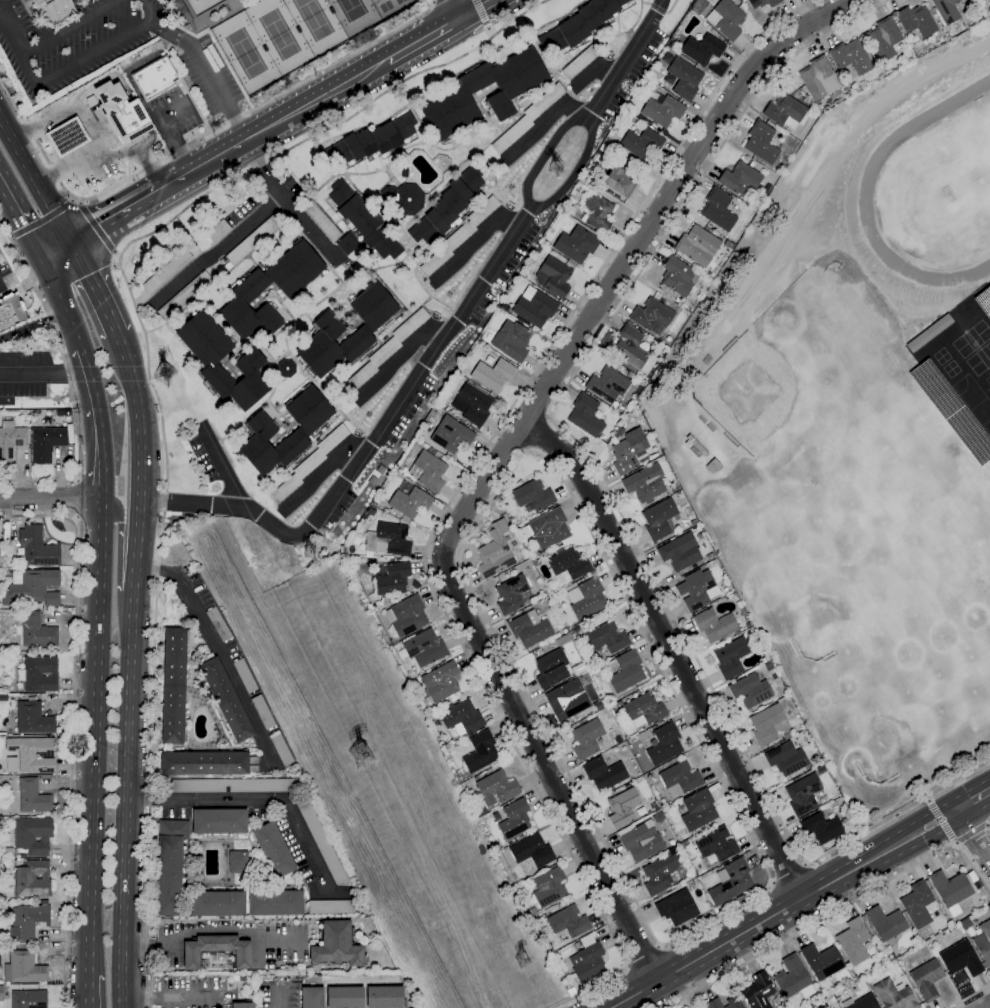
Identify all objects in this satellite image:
park: (196, 0)
park: (400, 1)
building: (743, 1)
building: (762, 3)
park: (384, 5)
building: (699, 6)
road: (458, 8)
road: (478, 8)
building: (55, 9)
park: (352, 9)
building: (946, 10)
building: (182, 12)
park: (313, 18)
road: (484, 18)
building: (726, 19)
building: (917, 20)
building: (976, 22)
building: (578, 25)
road: (70, 27)
road: (11, 32)
park: (279, 34)
road: (425, 38)
building: (883, 39)
parking lot: (73, 41)
building: (702, 48)
road: (90, 51)
park: (246, 53)
building: (850, 57)
road: (625, 60)
building: (580, 61)
road: (207, 70)
road: (592, 70)
road: (107, 75)
building: (155, 77)
building: (684, 78)
building: (819, 78)
building: (509, 93)
road: (311, 101)
building: (662, 110)
building: (785, 111)
building: (124, 112)
road: (142, 116)
building: (528, 118)
road: (545, 121)
road: (92, 129)
building: (68, 137)
gas station: (68, 137)
building: (380, 137)
road: (147, 141)
road: (194, 142)
building: (761, 142)
building: (641, 143)
road: (544, 157)
road: (68, 161)
road: (207, 161)
road: (577, 166)
park: (968, 167)
power tower: (554, 171)
building: (404, 172)
road: (35, 179)
building: (740, 179)
building: (618, 181)
track: (867, 182)
building: (577, 188)
track: (939, 192)
building: (407, 199)
road: (137, 202)
building: (448, 205)
road: (292, 208)
building: (717, 209)
building: (597, 212)
road: (41, 219)
building: (321, 220)
building: (364, 220)
road: (20, 222)
road: (98, 227)
building: (218, 231)
road: (85, 233)
building: (460, 235)
road: (475, 237)
building: (253, 240)
traffic signals: (73, 241)
building: (545, 242)
building: (348, 243)
building: (576, 244)
building: (698, 245)
building: (728, 245)
building: (539, 248)
road: (56, 249)
road: (214, 252)
traffic signals: (39, 257)
road: (625, 259)
parking lot: (3, 265)
building: (167, 271)
building: (553, 277)
building: (678, 277)
building: (424, 280)
road: (95, 285)
building: (247, 290)
building: (184, 295)
road: (61, 302)
building: (534, 306)
building: (651, 314)
building: (13, 316)
road: (33, 325)
building: (329, 329)
building: (511, 340)
building: (630, 346)
building: (386, 349)
building: (251, 359)
building: (617, 359)
building: (286, 367)
road: (43, 371)
power tower: (167, 373)
parking lot: (24, 374)
building: (494, 374)
road: (150, 379)
road: (70, 380)
park: (989, 380)
building: (608, 384)
park: (757, 391)
building: (472, 404)
building: (586, 414)
road: (99, 423)
building: (263, 430)
road: (539, 433)
building: (451, 434)
building: (11, 440)
road: (371, 440)
building: (47, 442)
building: (695, 447)
building: (630, 451)
building: (310, 463)
building: (713, 465)
road: (224, 470)
building: (429, 470)
building: (645, 483)
road: (605, 485)
building: (674, 488)
road: (456, 494)
building: (533, 495)
road: (76, 498)
building: (410, 499)
road: (50, 500)
building: (375, 502)
building: (386, 510)
building: (661, 519)
building: (693, 522)
building: (549, 528)
building: (388, 539)
park: (903, 541)
building: (38, 547)
building: (495, 550)
building: (680, 552)
power tower: (309, 554)
road: (118, 559)
building: (536, 560)
building: (567, 564)
building: (184, 568)
building: (393, 580)
building: (32, 587)
building: (697, 589)
building: (513, 594)
building: (587, 598)
building: (370, 607)
building: (742, 611)
building: (407, 615)
building: (746, 617)
park: (821, 623)
building: (218, 624)
building: (748, 624)
building: (715, 625)
building: (530, 628)
building: (37, 631)
building: (607, 639)
building: (563, 640)
building: (424, 648)
road: (215, 652)
road: (672, 652)
building: (731, 657)
building: (769, 666)
road: (131, 667)
building: (580, 667)
building: (599, 667)
building: (552, 669)
building: (626, 671)
building: (39, 673)
building: (245, 675)
building: (441, 681)
building: (174, 685)
building: (750, 690)
building: (608, 693)
building: (225, 698)
building: (569, 698)
building: (427, 700)
building: (600, 705)
building: (644, 710)
building: (263, 712)
building: (33, 718)
building: (462, 718)
building: (768, 724)
road: (72, 725)
road: (96, 737)
building: (587, 738)
building: (664, 744)
park: (883, 745)
building: (167, 748)
building: (281, 748)
building: (480, 751)
building: (33, 753)
power tower: (360, 757)
building: (786, 758)
building: (207, 763)
building: (11, 764)
building: (860, 769)
road: (546, 771)
building: (604, 773)
building: (475, 777)
building: (680, 779)
building: (892, 779)
building: (227, 785)
building: (497, 788)
building: (803, 794)
building: (33, 797)
road: (973, 800)
road: (258, 802)
building: (623, 807)
building: (656, 807)
building: (479, 809)
building: (698, 810)
building: (658, 817)
building: (514, 819)
building: (219, 821)
road: (941, 822)
building: (822, 827)
road: (972, 834)
building: (33, 836)
road: (972, 836)
building: (640, 840)
building: (321, 841)
building: (717, 844)
building: (676, 849)
building: (8, 850)
building: (274, 850)
building: (532, 851)
building: (238, 861)
building: (170, 866)
road: (788, 872)
building: (661, 874)
building: (33, 879)
building: (731, 882)
building: (549, 887)
building: (950, 890)
building: (218, 903)
building: (275, 903)
building: (919, 904)
building: (331, 906)
building: (677, 907)
building: (989, 907)
road: (783, 909)
road: (835, 910)
building: (28, 921)
building: (568, 921)
building: (886, 924)
road: (208, 930)
road: (688, 933)
building: (853, 941)
building: (984, 942)
building: (336, 945)
building: (577, 945)
building: (217, 950)
road: (643, 955)
building: (961, 958)
building: (587, 959)
power tower: (522, 962)
building: (822, 963)
building: (24, 968)
building: (793, 977)
building: (239, 978)
building: (927, 979)
building: (4, 982)
road: (92, 990)
building: (571, 991)
building: (758, 991)
building: (1, 993)
parking lot: (190, 993)
road: (167, 994)
parking lot: (278, 995)
building: (894, 995)
road: (969, 996)
building: (312, 997)
building: (345, 997)
building: (384, 997)
road: (280, 998)
building: (29, 999)
road: (91, 1002)
building: (733, 1002)
building: (861, 1002)
building: (713, 1003)
building: (244, 1004)
road: (987, 1006)
building: (700, 1007)

